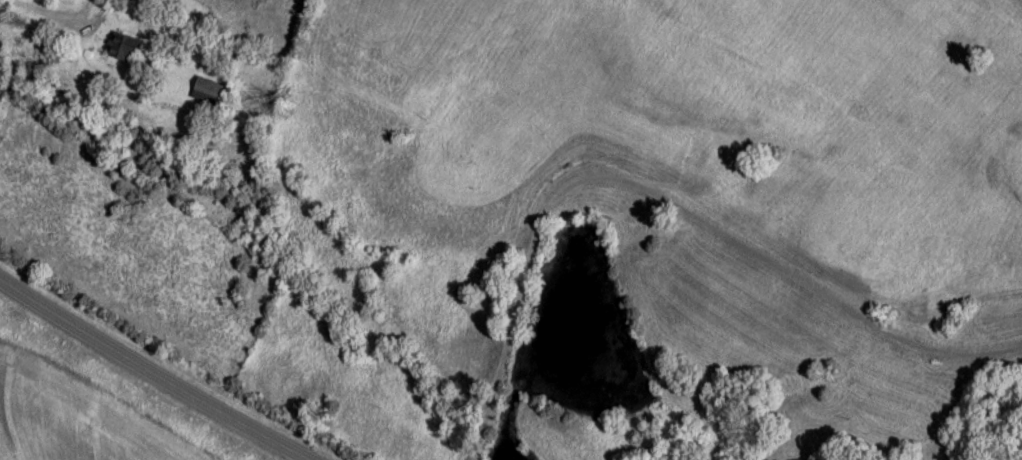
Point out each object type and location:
building: (107, 5)
building: (126, 50)
building: (210, 95)
road: (142, 376)

